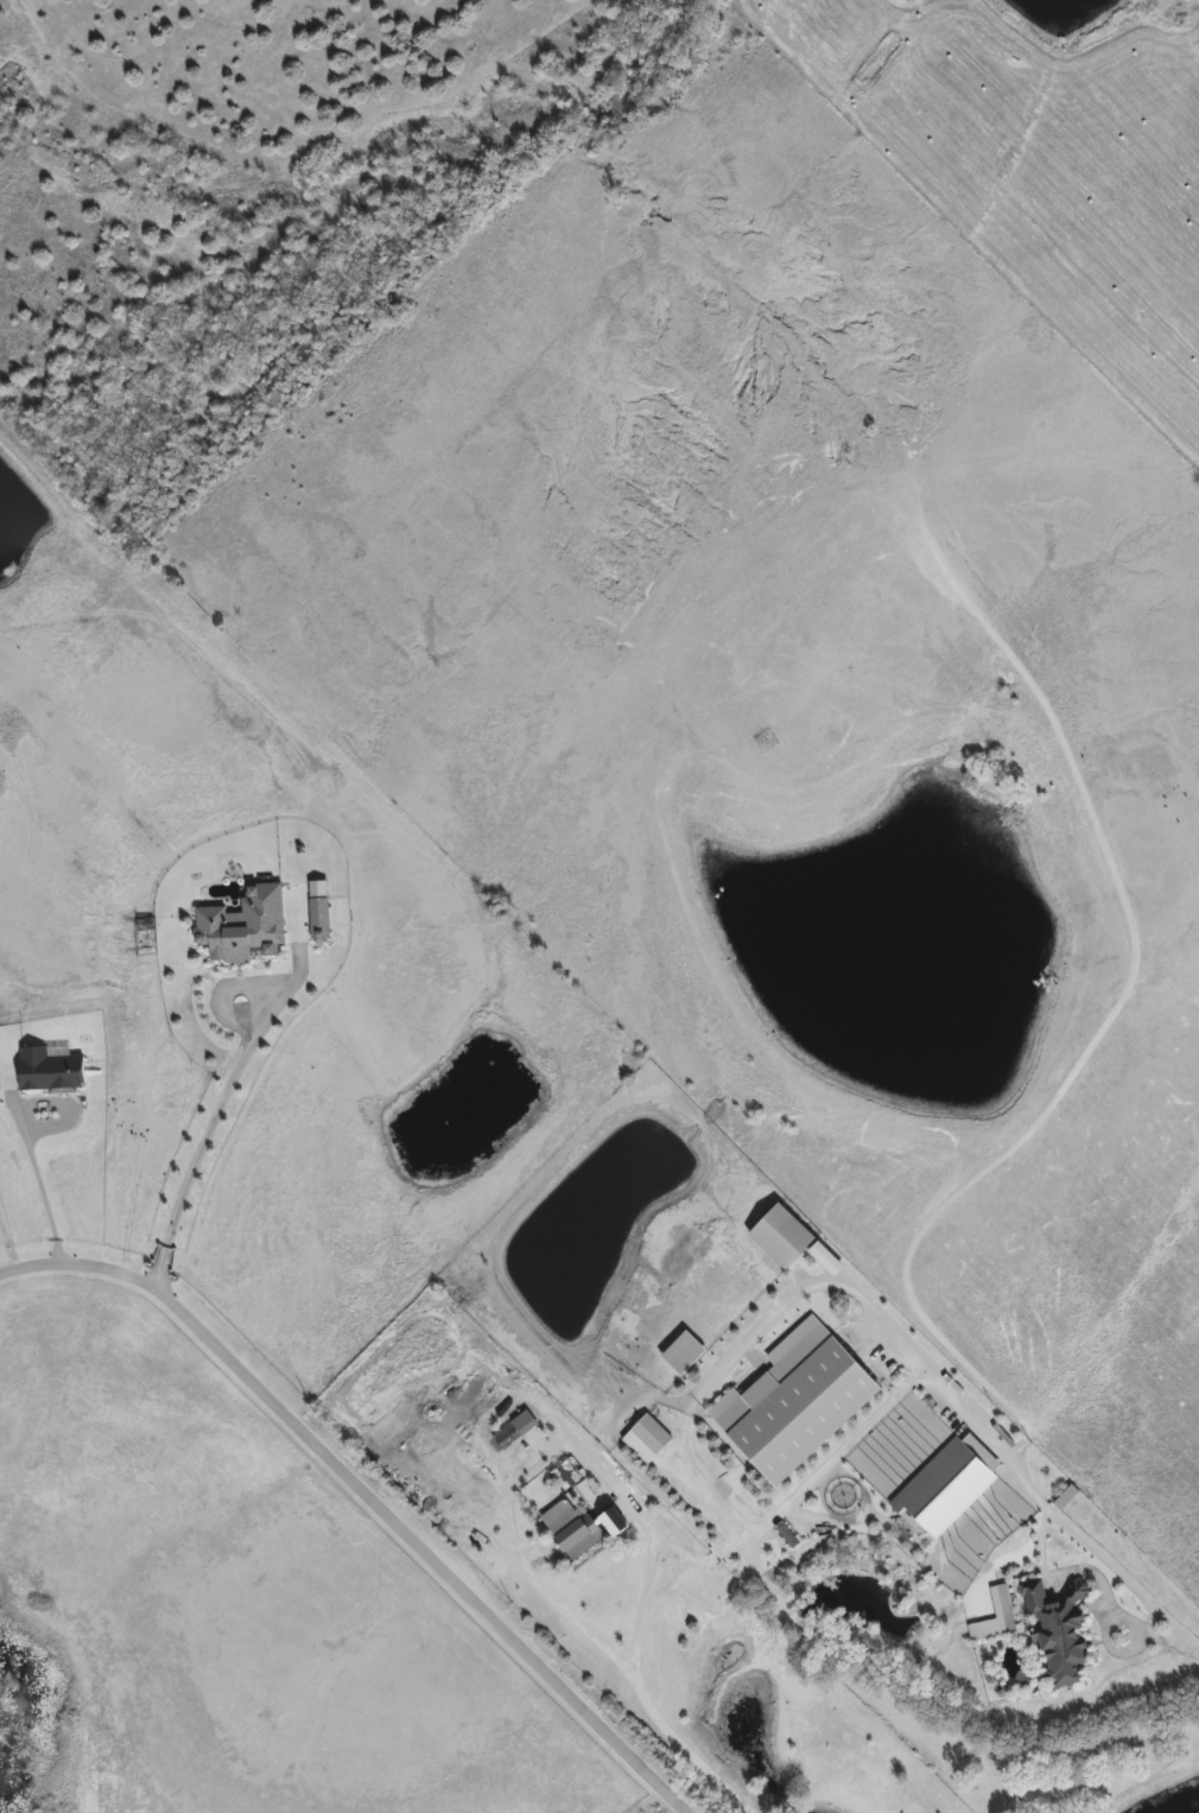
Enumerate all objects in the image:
road: (207, 1127)
road: (37, 1130)
road: (4, 1257)
road: (746, 1340)
building: (525, 1424)
road: (843, 1445)
road: (519, 1467)
road: (363, 1494)
building: (614, 1522)
building: (575, 1534)
building: (1060, 1636)

